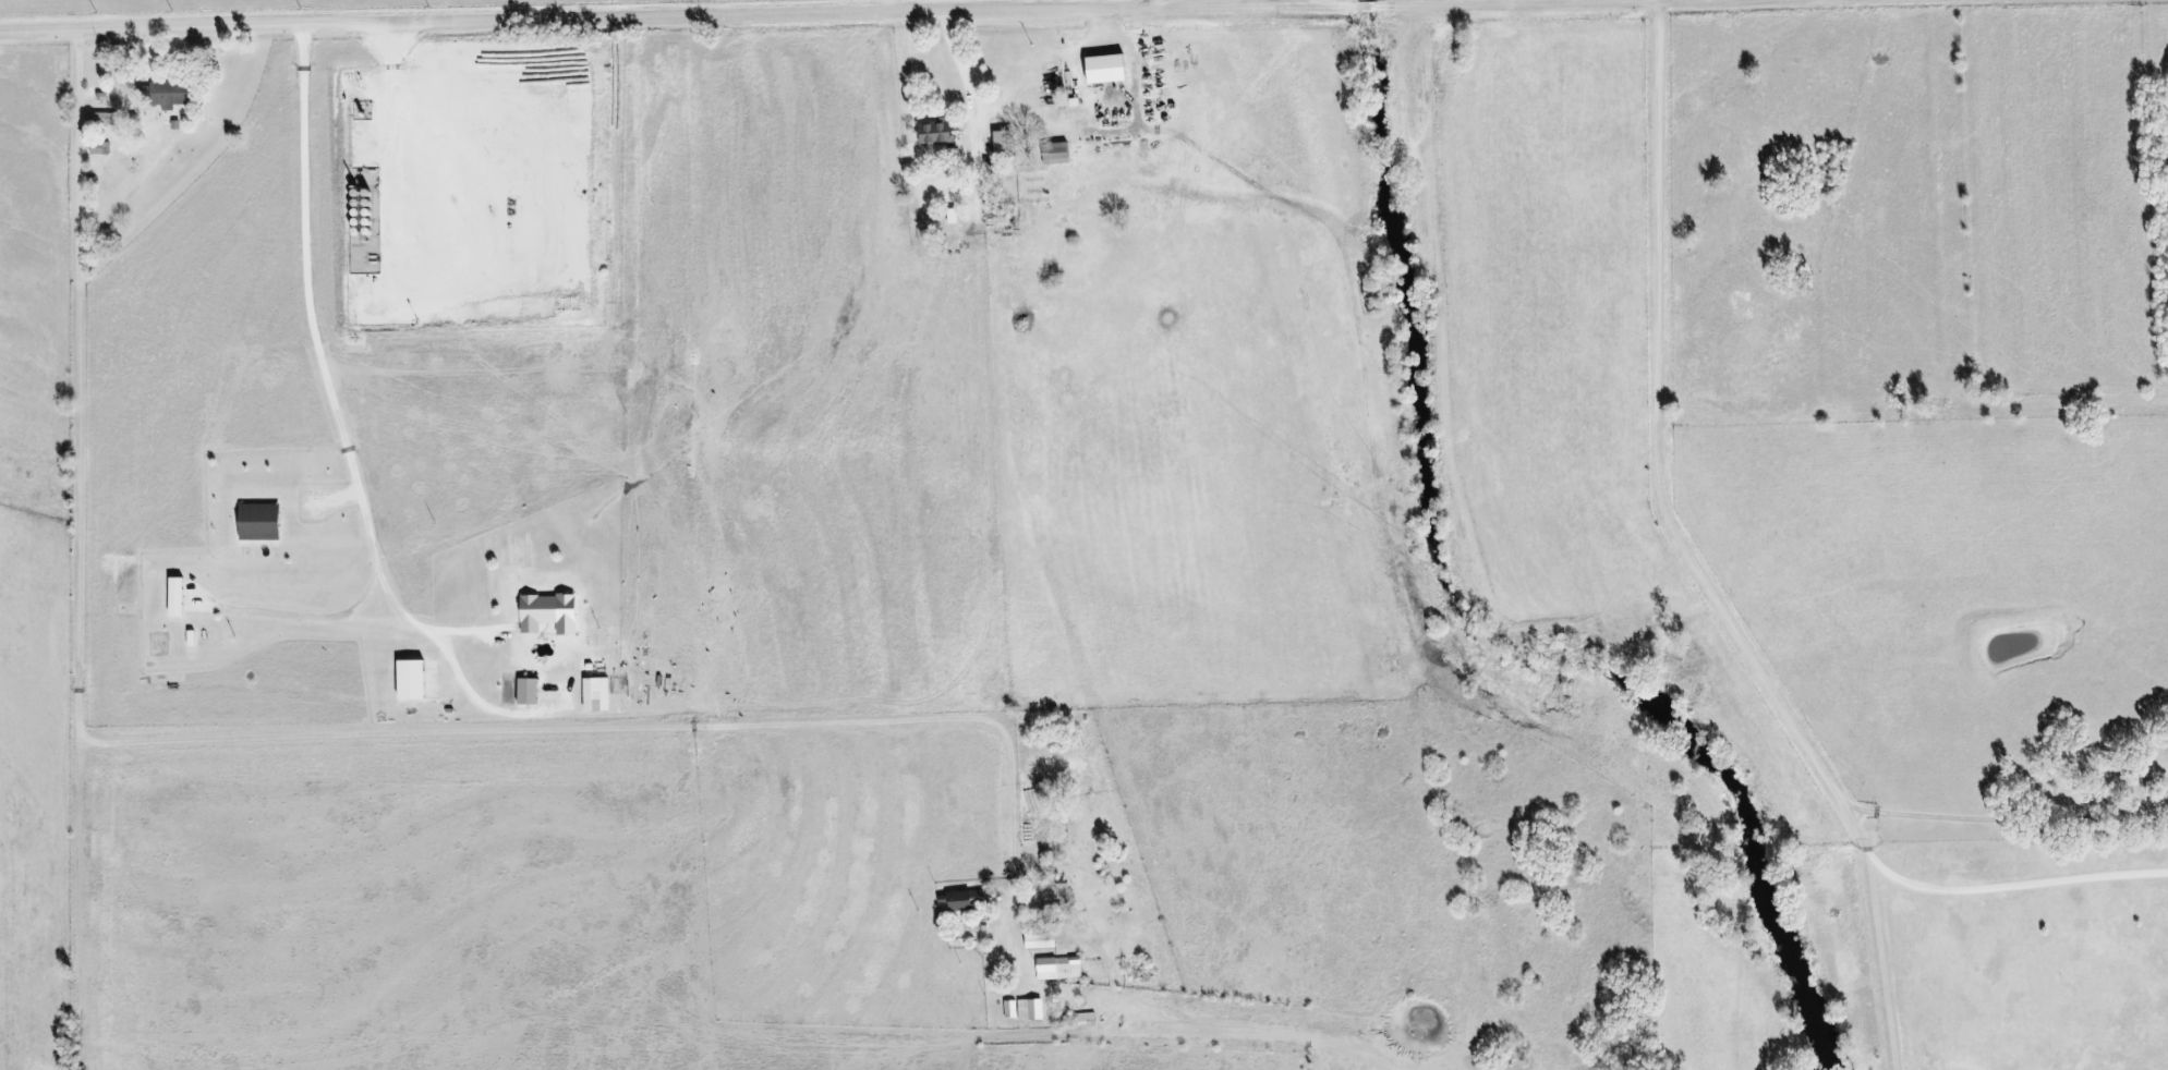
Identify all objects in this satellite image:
road: (1161, 2)
road: (778, 11)
building: (1106, 68)
building: (165, 92)
building: (102, 119)
building: (935, 133)
building: (1003, 143)
road: (436, 145)
building: (1055, 153)
building: (989, 210)
road: (324, 373)
building: (258, 522)
road: (1696, 558)
building: (175, 596)
building: (548, 612)
building: (411, 679)
building: (528, 691)
building: (595, 694)
road: (208, 734)
building: (968, 898)
building: (1039, 940)
building: (1057, 968)
building: (1009, 1009)
building: (1029, 1009)

